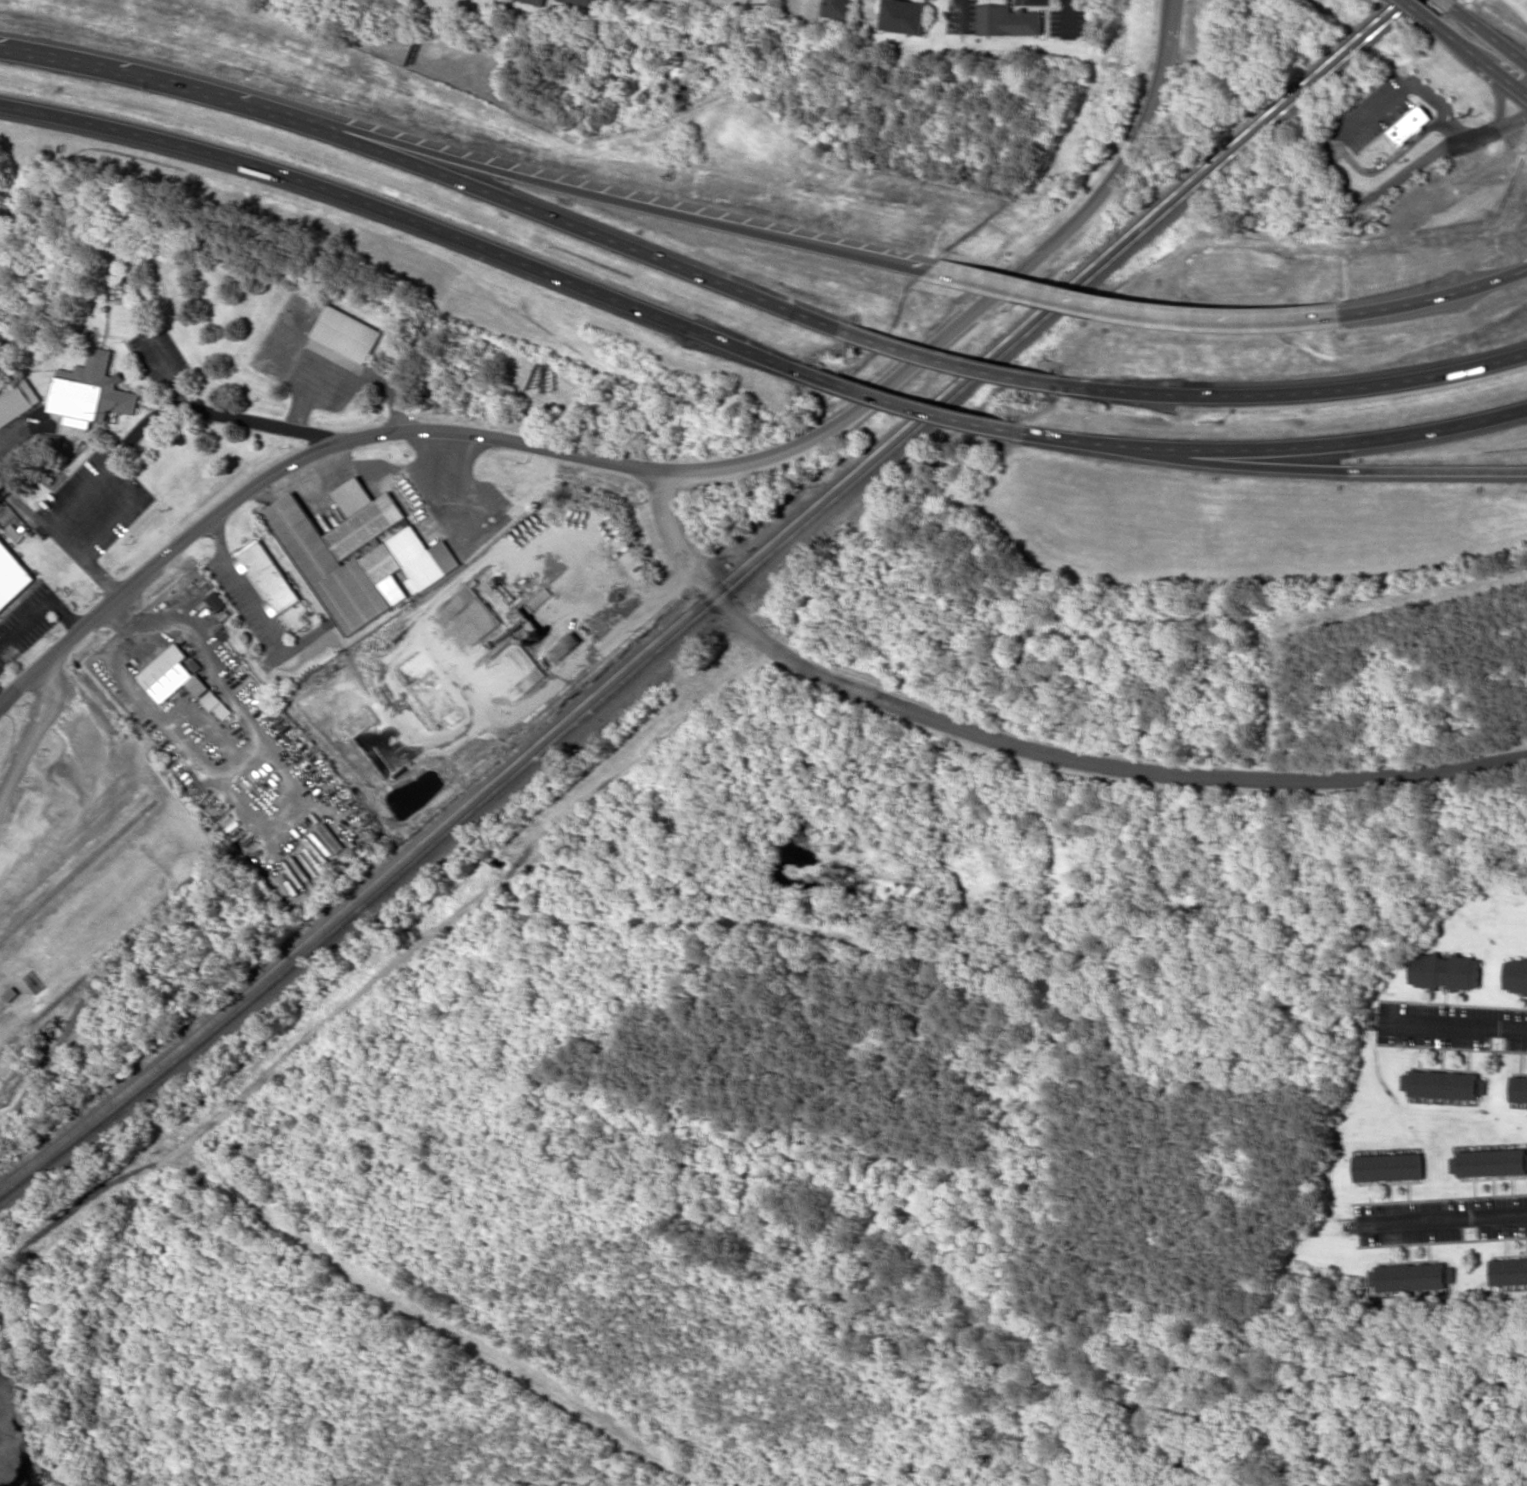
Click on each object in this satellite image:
building: (539, 1)
road: (1450, 2)
building: (582, 3)
building: (838, 8)
road: (1422, 10)
building: (904, 15)
building: (1009, 19)
road: (1490, 34)
road: (1481, 57)
road: (1404, 86)
road: (1502, 95)
building: (1409, 125)
road: (1443, 148)
road: (1391, 157)
road: (426, 169)
road: (591, 193)
road: (403, 216)
road: (1436, 297)
road: (1136, 312)
building: (347, 332)
parking lot: (157, 351)
building: (336, 354)
road: (965, 367)
road: (178, 390)
road: (1312, 390)
building: (92, 391)
building: (18, 400)
road: (909, 407)
road: (213, 412)
road: (1279, 447)
road: (1344, 470)
road: (654, 473)
parking lot: (95, 503)
building: (17, 532)
building: (361, 553)
building: (12, 575)
building: (268, 576)
road: (103, 578)
building: (217, 600)
railway: (704, 600)
railway: (711, 606)
road: (66, 614)
road: (27, 624)
building: (565, 645)
building: (181, 679)
road: (1036, 748)
building: (259, 778)
railway: (74, 857)
railway: (78, 870)
railway: (110, 953)
building: (1445, 971)
building: (1516, 975)
railway: (69, 1025)
road: (1454, 1026)
building: (1443, 1084)
building: (1519, 1088)
building: (1492, 1162)
building: (1388, 1166)
road: (1444, 1218)
building: (1509, 1270)
building: (1412, 1276)

